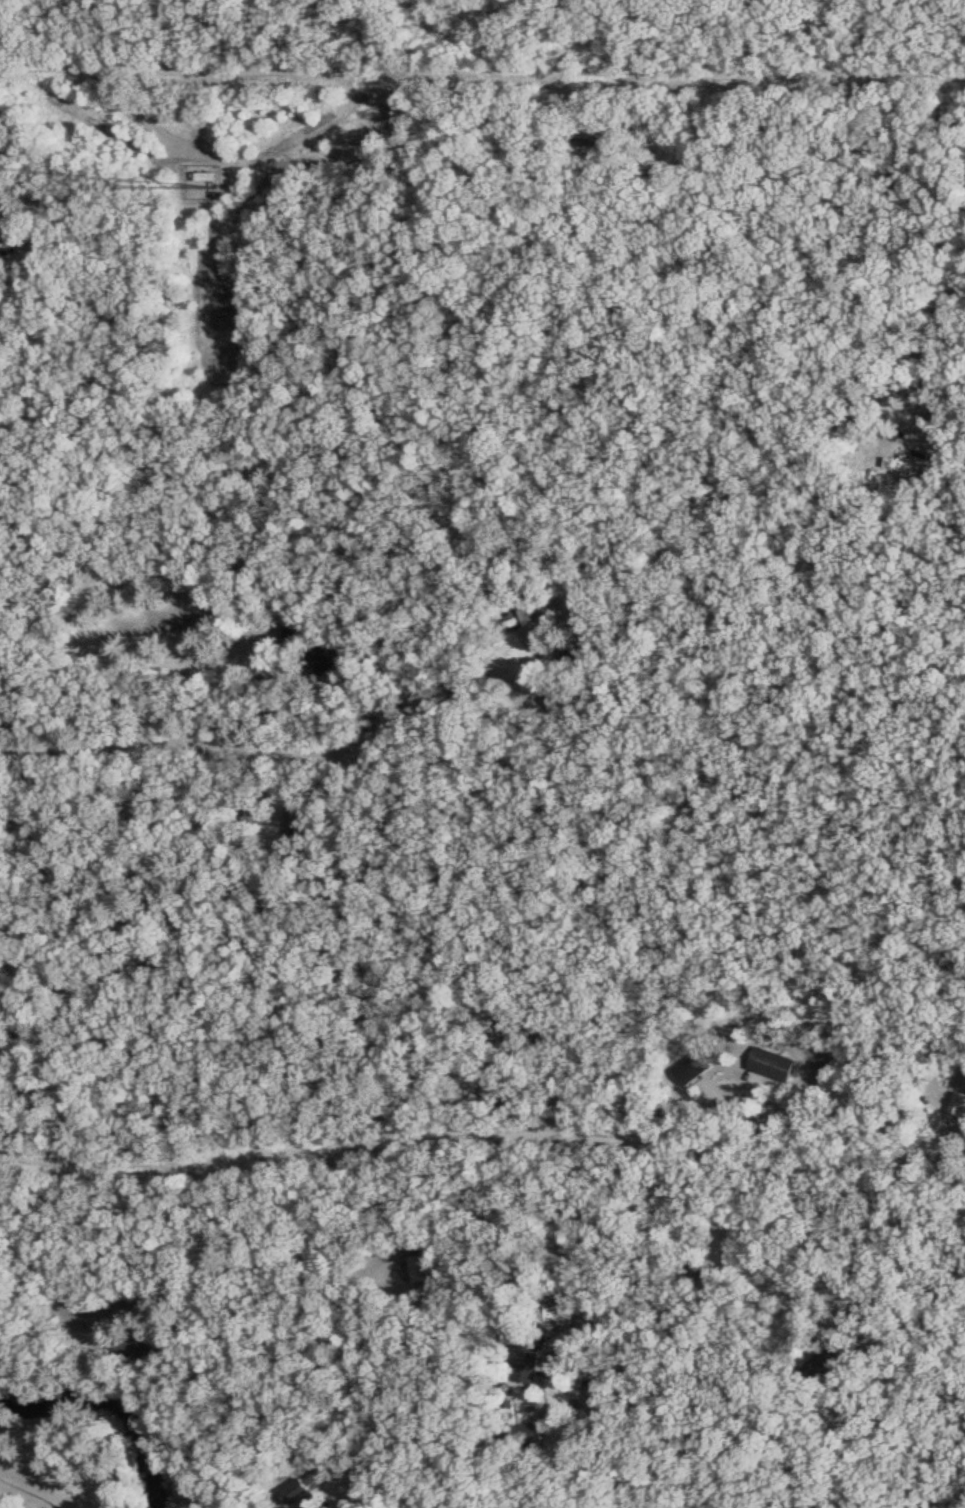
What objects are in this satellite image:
road: (482, 29)
road: (536, 98)
building: (9, 226)
building: (533, 632)
building: (776, 1062)
building: (697, 1066)
road: (484, 1139)
building: (420, 1266)
river: (109, 1412)
road: (935, 1500)

